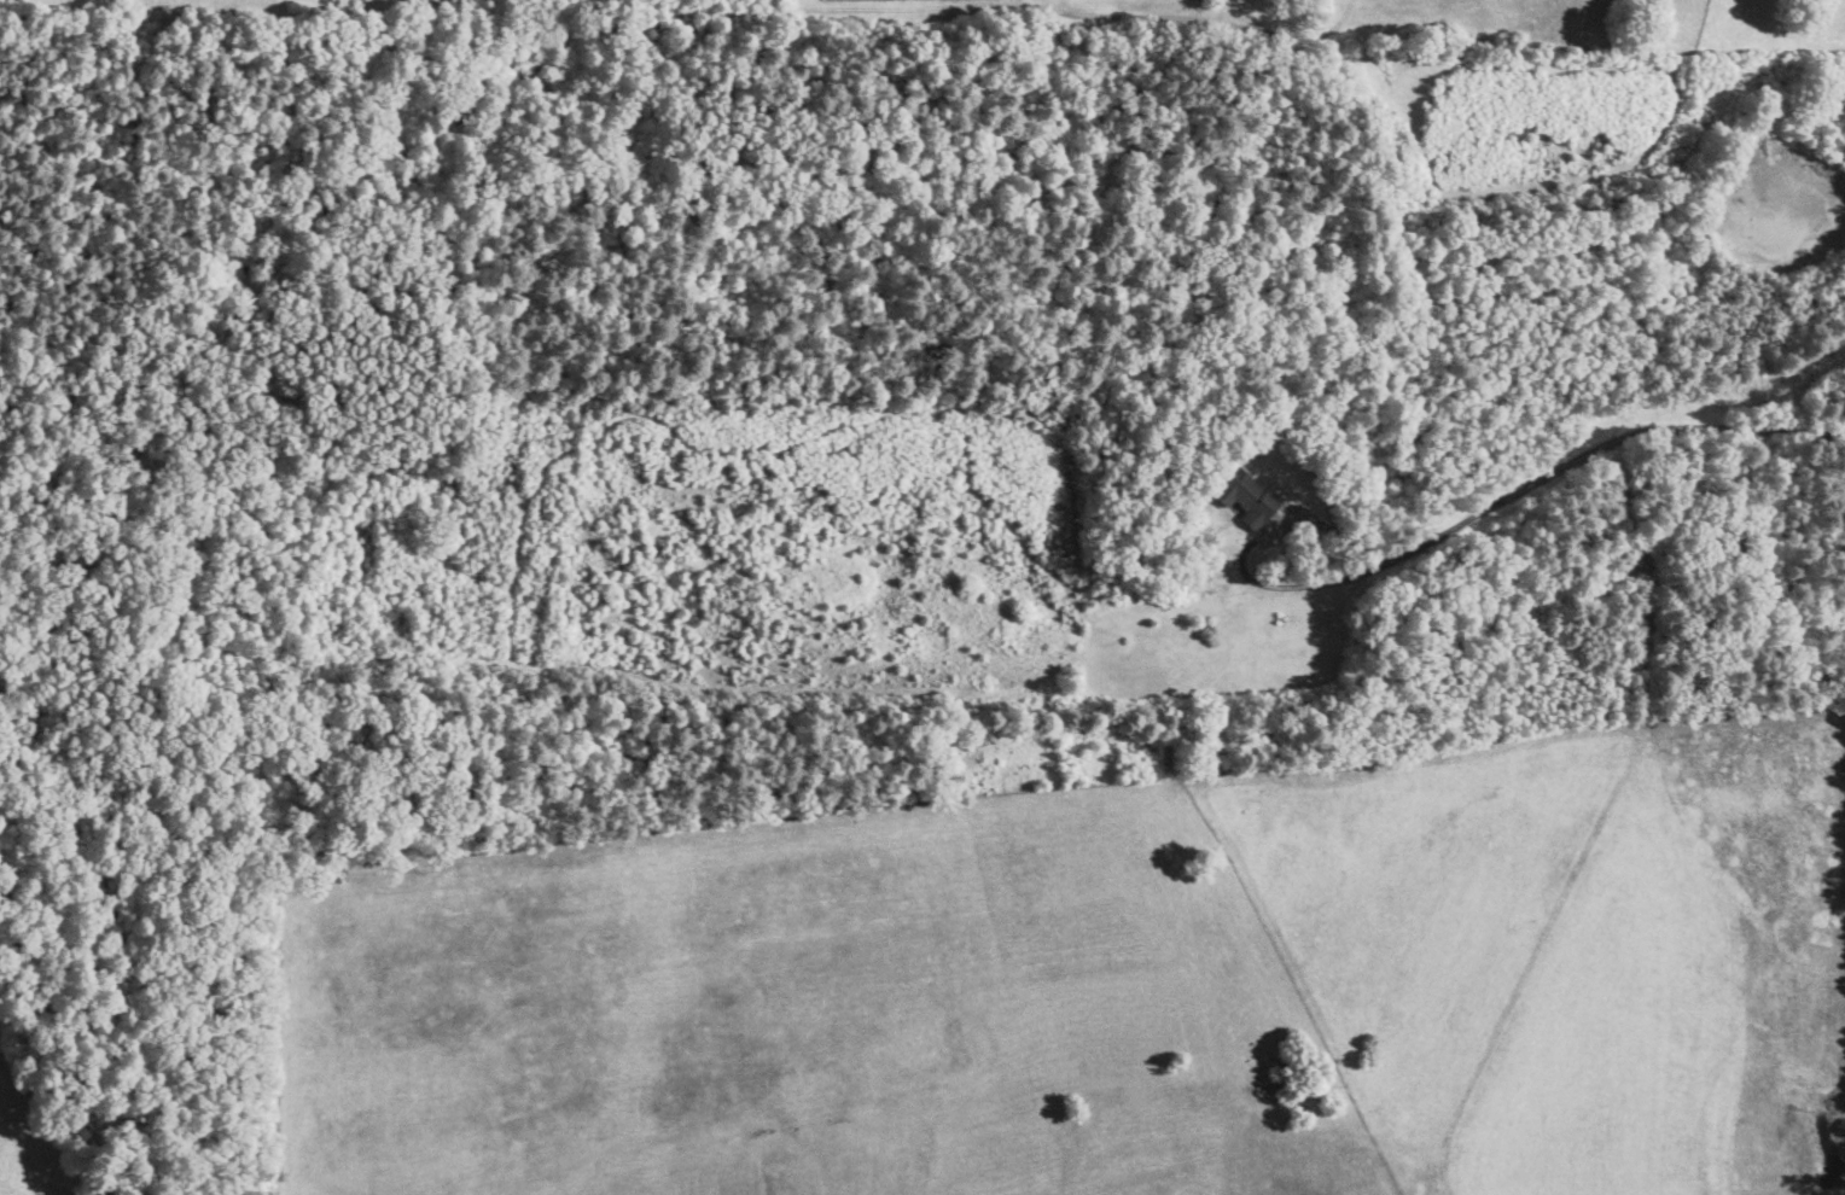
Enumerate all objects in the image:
road: (1613, 439)
road: (1240, 556)

